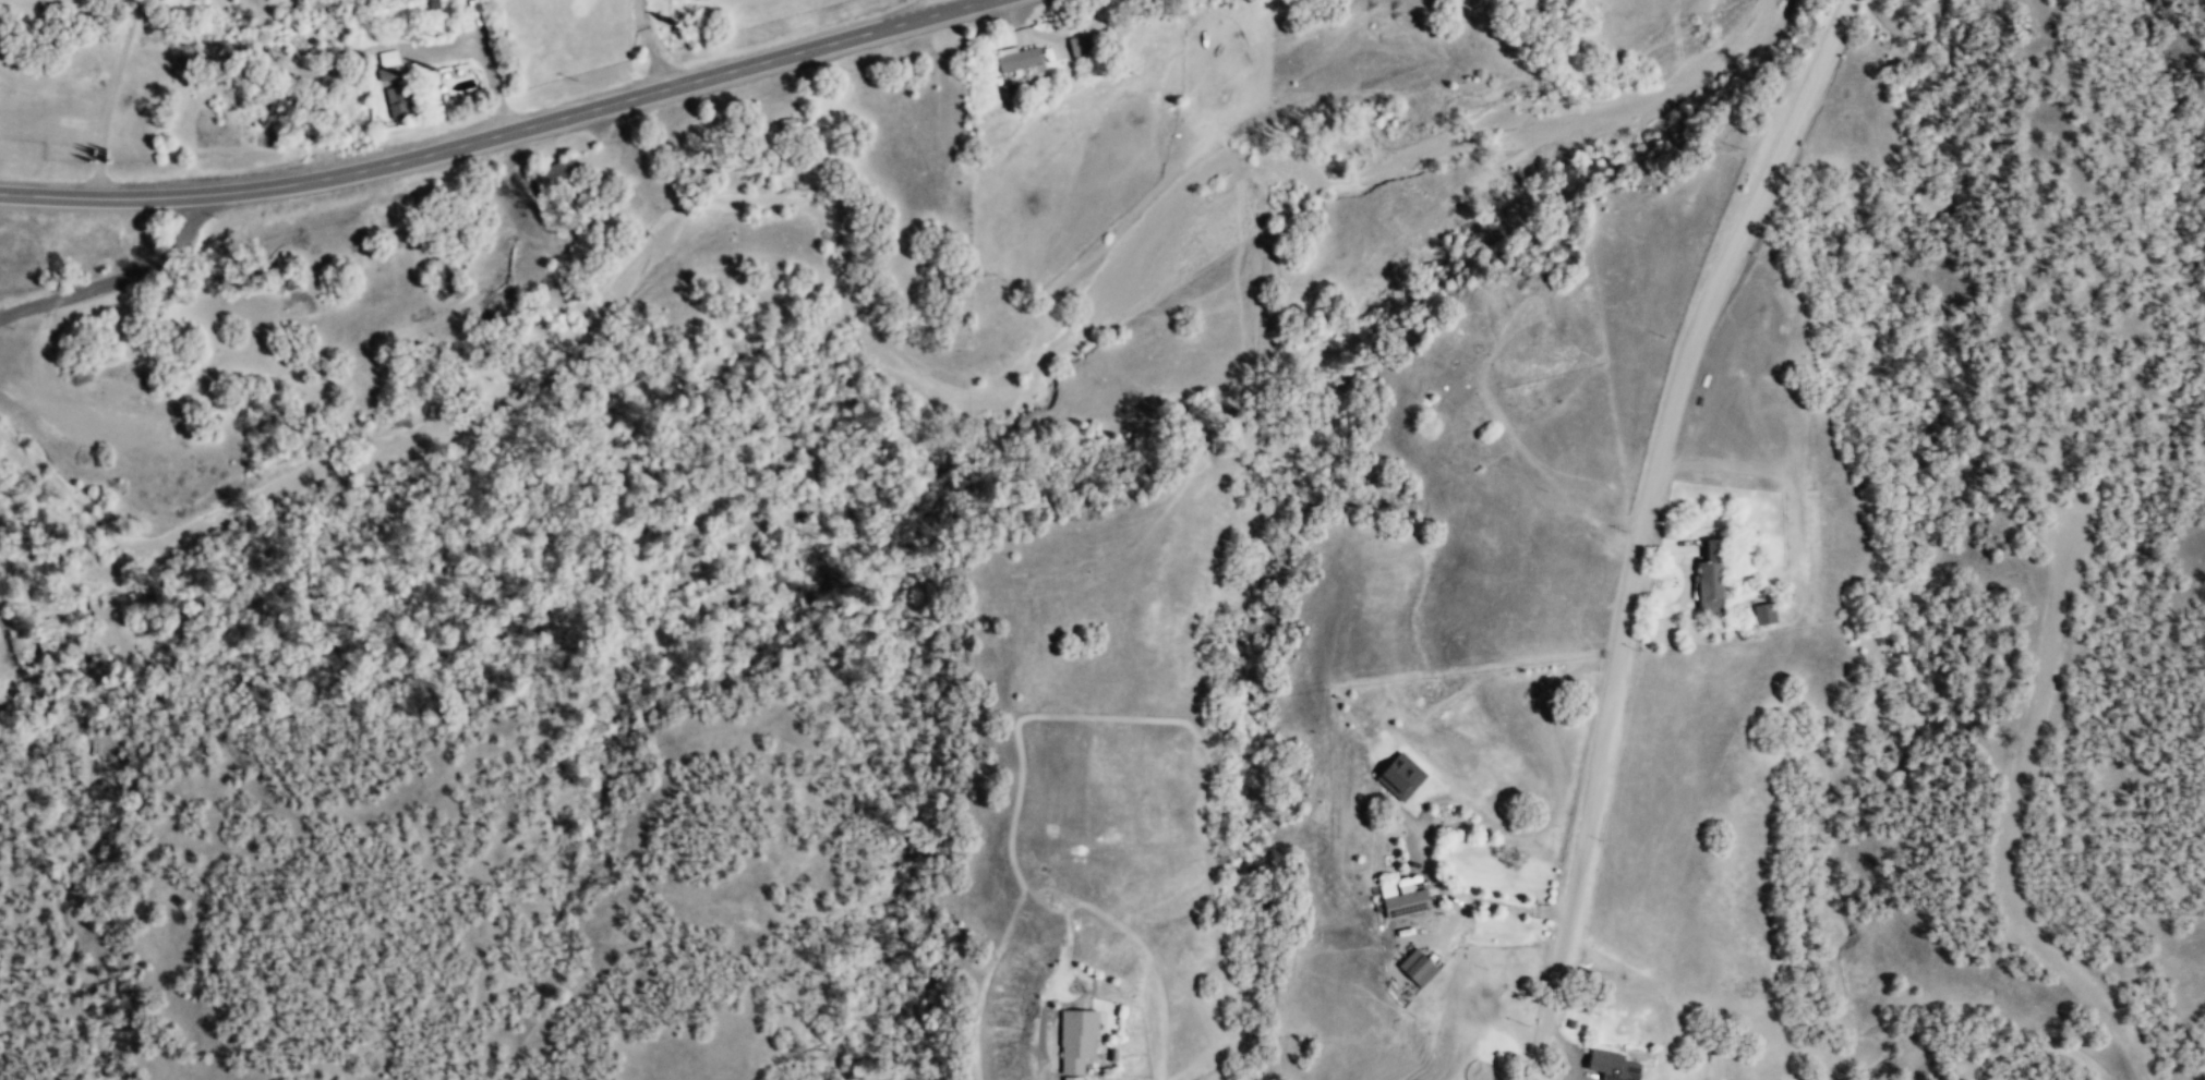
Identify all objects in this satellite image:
road: (954, 4)
building: (1081, 45)
building: (1019, 60)
road: (109, 97)
building: (397, 100)
road: (501, 134)
road: (119, 279)
river: (79, 496)
road: (1652, 524)
building: (1711, 577)
building: (1764, 612)
building: (1400, 776)
road: (2012, 834)
building: (1403, 898)
road: (1470, 903)
building: (1418, 967)
building: (1076, 1039)
building: (1055, 1048)
road: (1080, 1065)
building: (1612, 1066)
building: (1960, 1067)
building: (1072, 1078)

